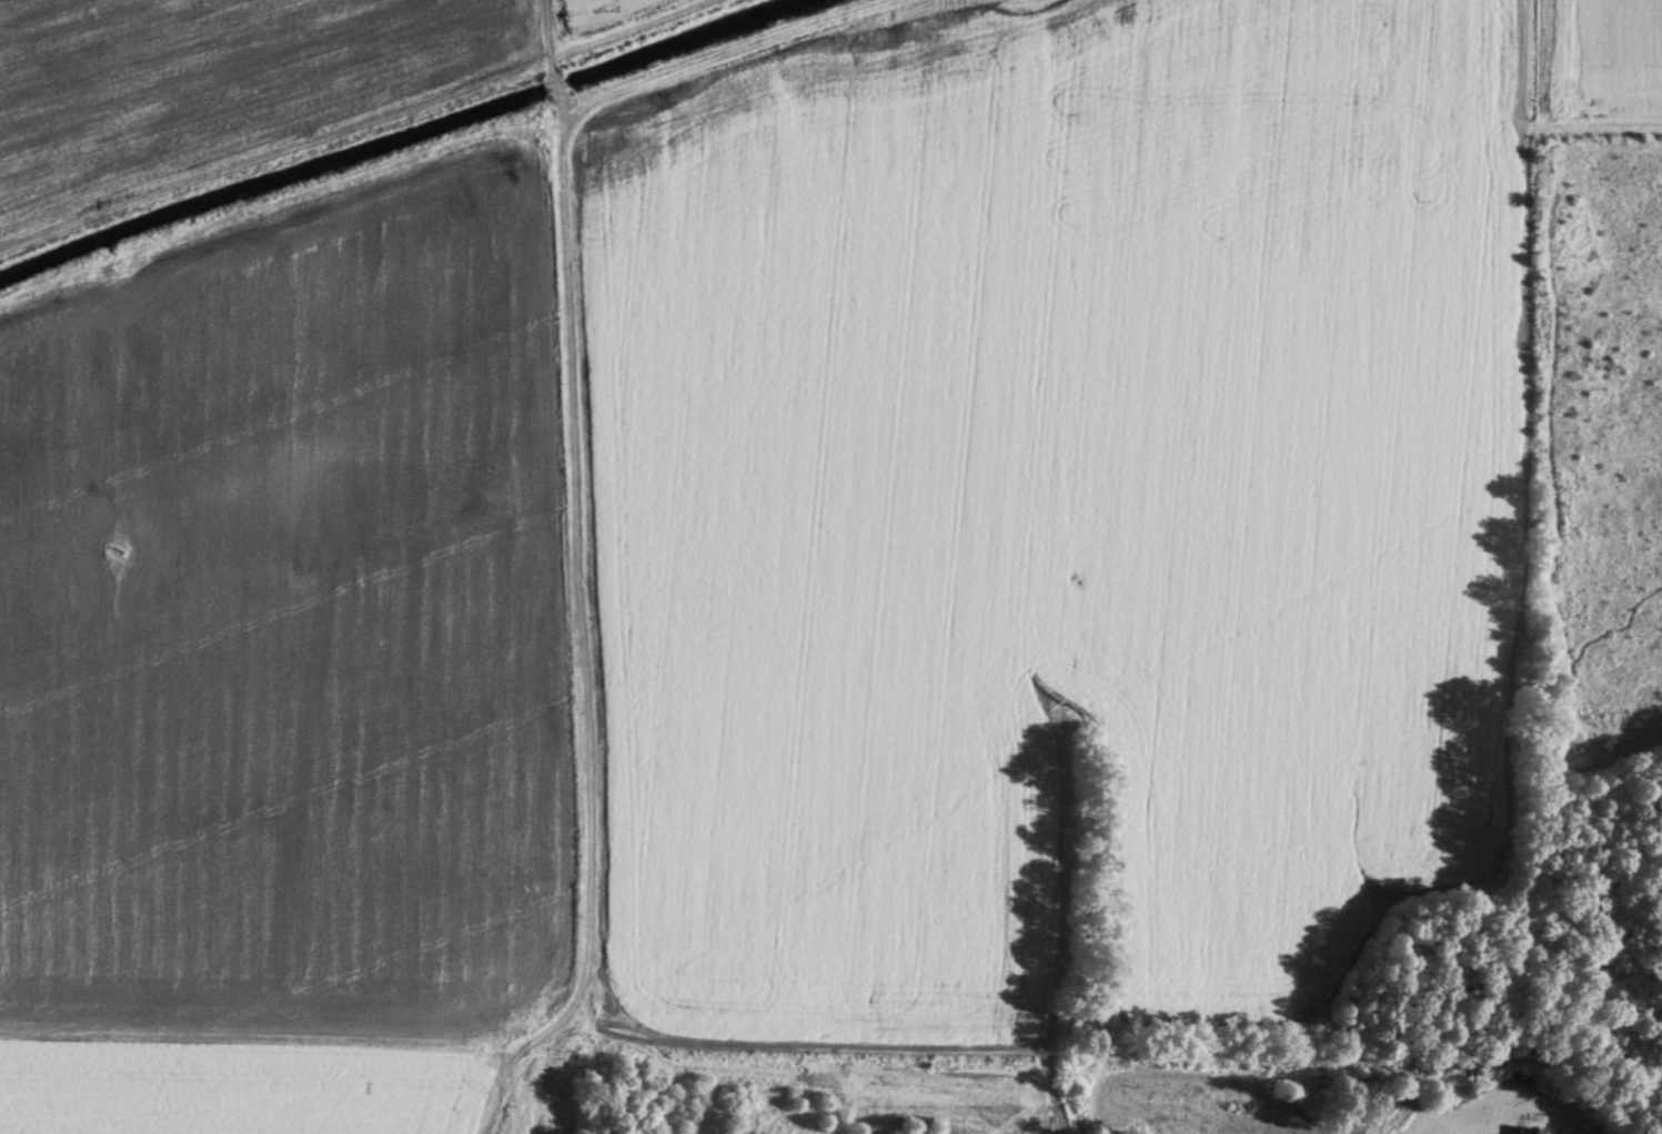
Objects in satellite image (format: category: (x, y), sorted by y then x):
road: (1504, 1050)

